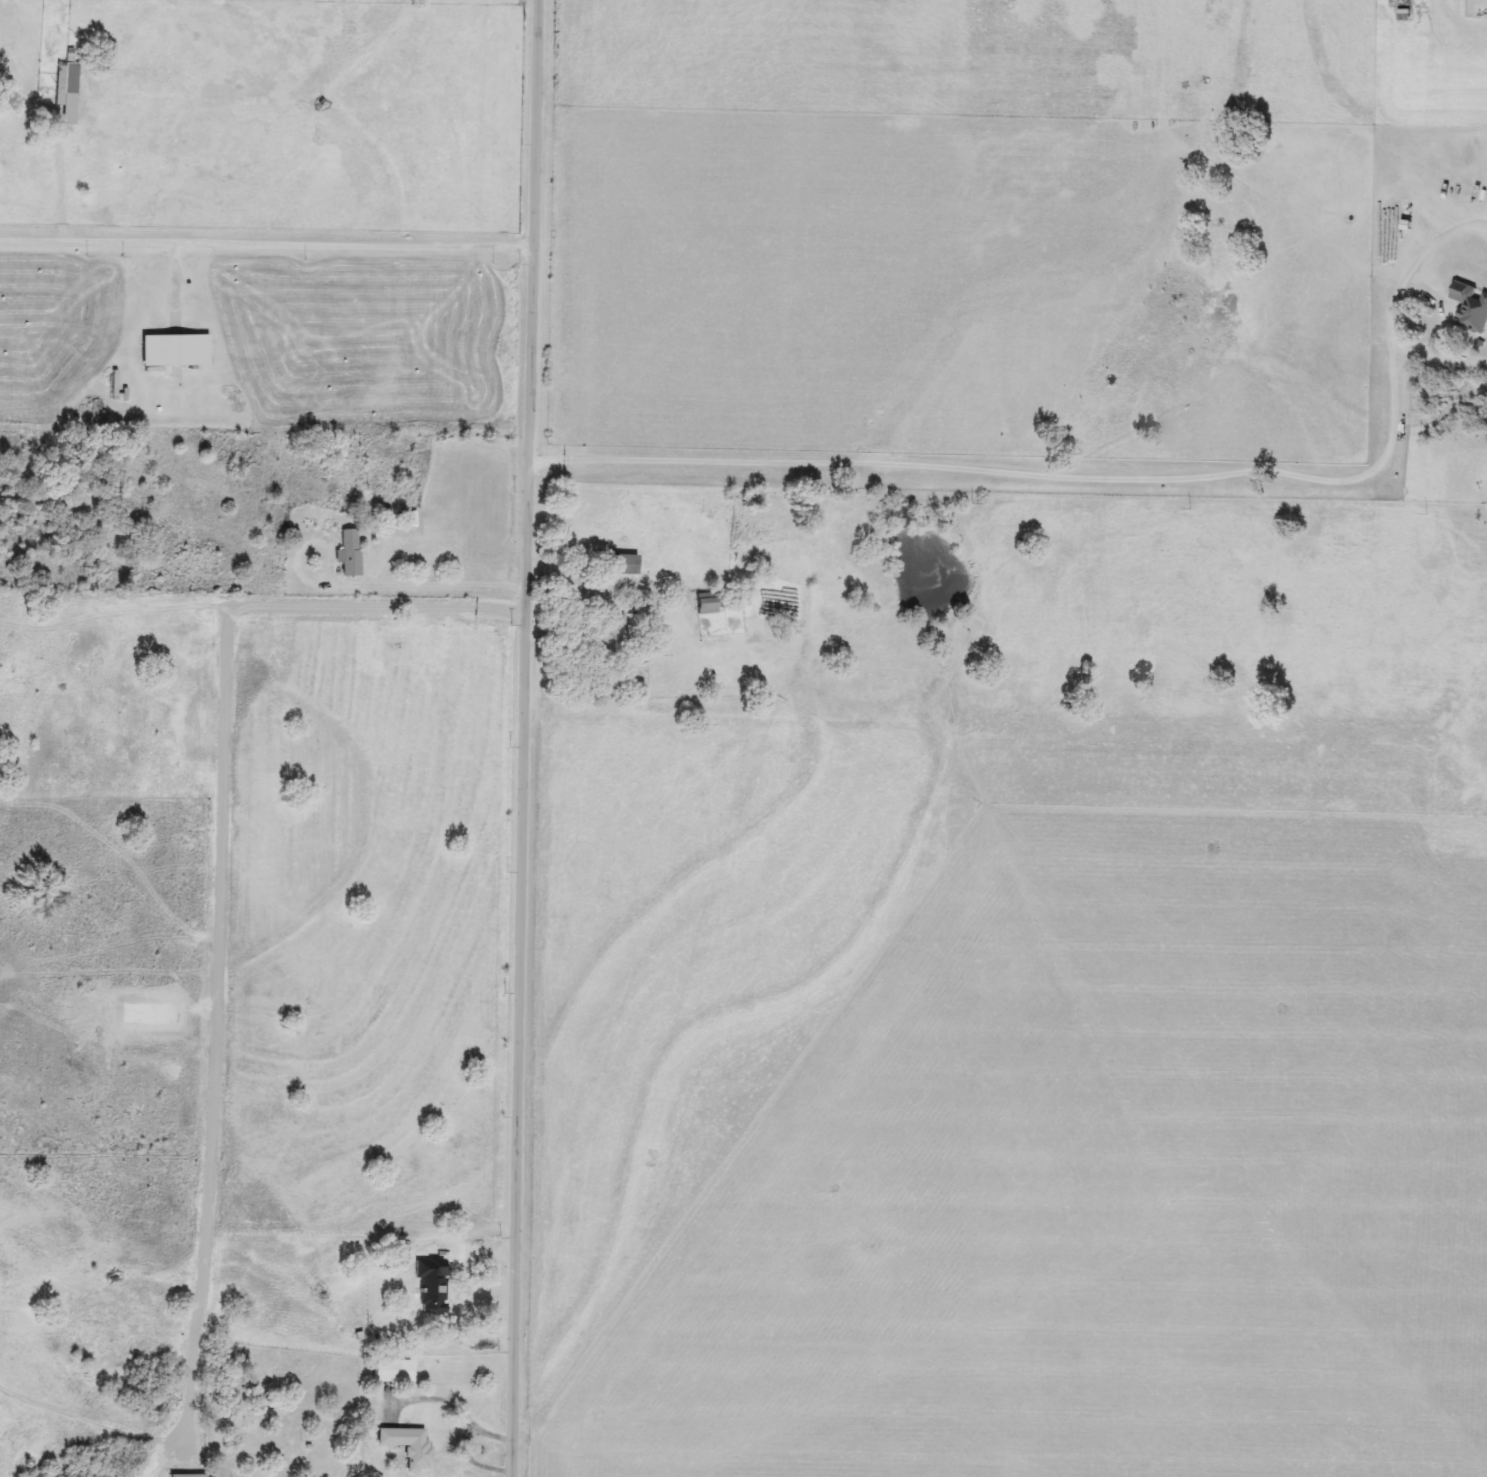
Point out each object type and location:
road: (268, 247)
building: (1471, 307)
building: (176, 351)
building: (349, 553)
building: (625, 565)
road: (446, 587)
building: (707, 604)
building: (613, 634)
road: (526, 738)
building: (387, 1372)
building: (249, 1426)
building: (408, 1446)
road: (270, 1449)
building: (188, 1476)

